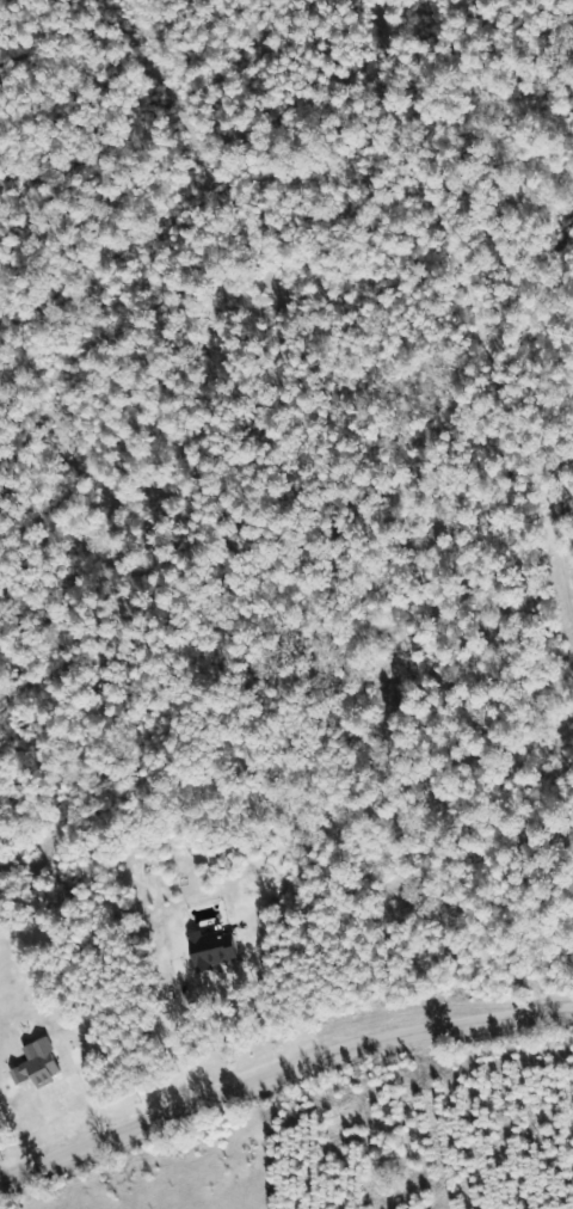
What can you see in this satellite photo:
road: (300, 1117)

